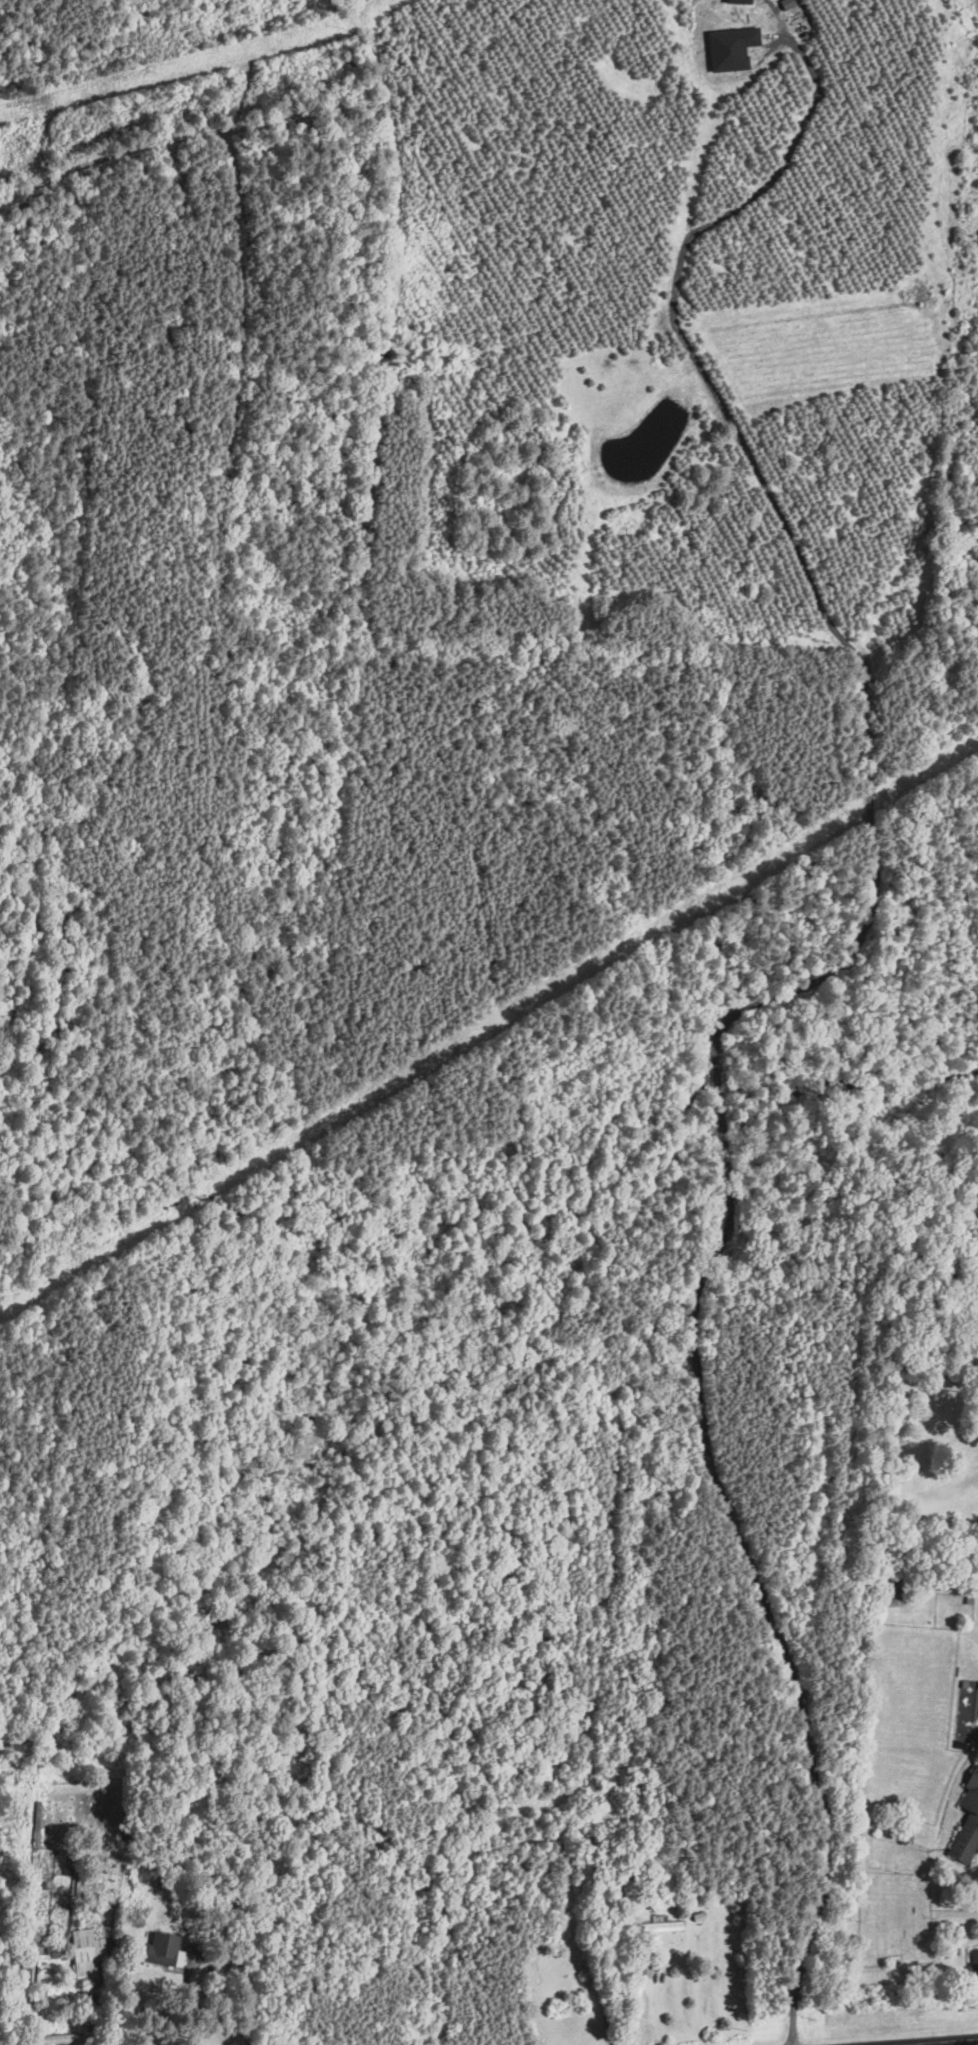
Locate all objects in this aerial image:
building: (736, 0)
building: (785, 2)
building: (729, 45)
building: (966, 1819)
building: (659, 1926)
building: (158, 1949)
building: (53, 1951)
building: (85, 1954)
building: (973, 1956)
building: (644, 1970)
road: (255, 1996)
building: (51, 2038)
road: (898, 2039)

